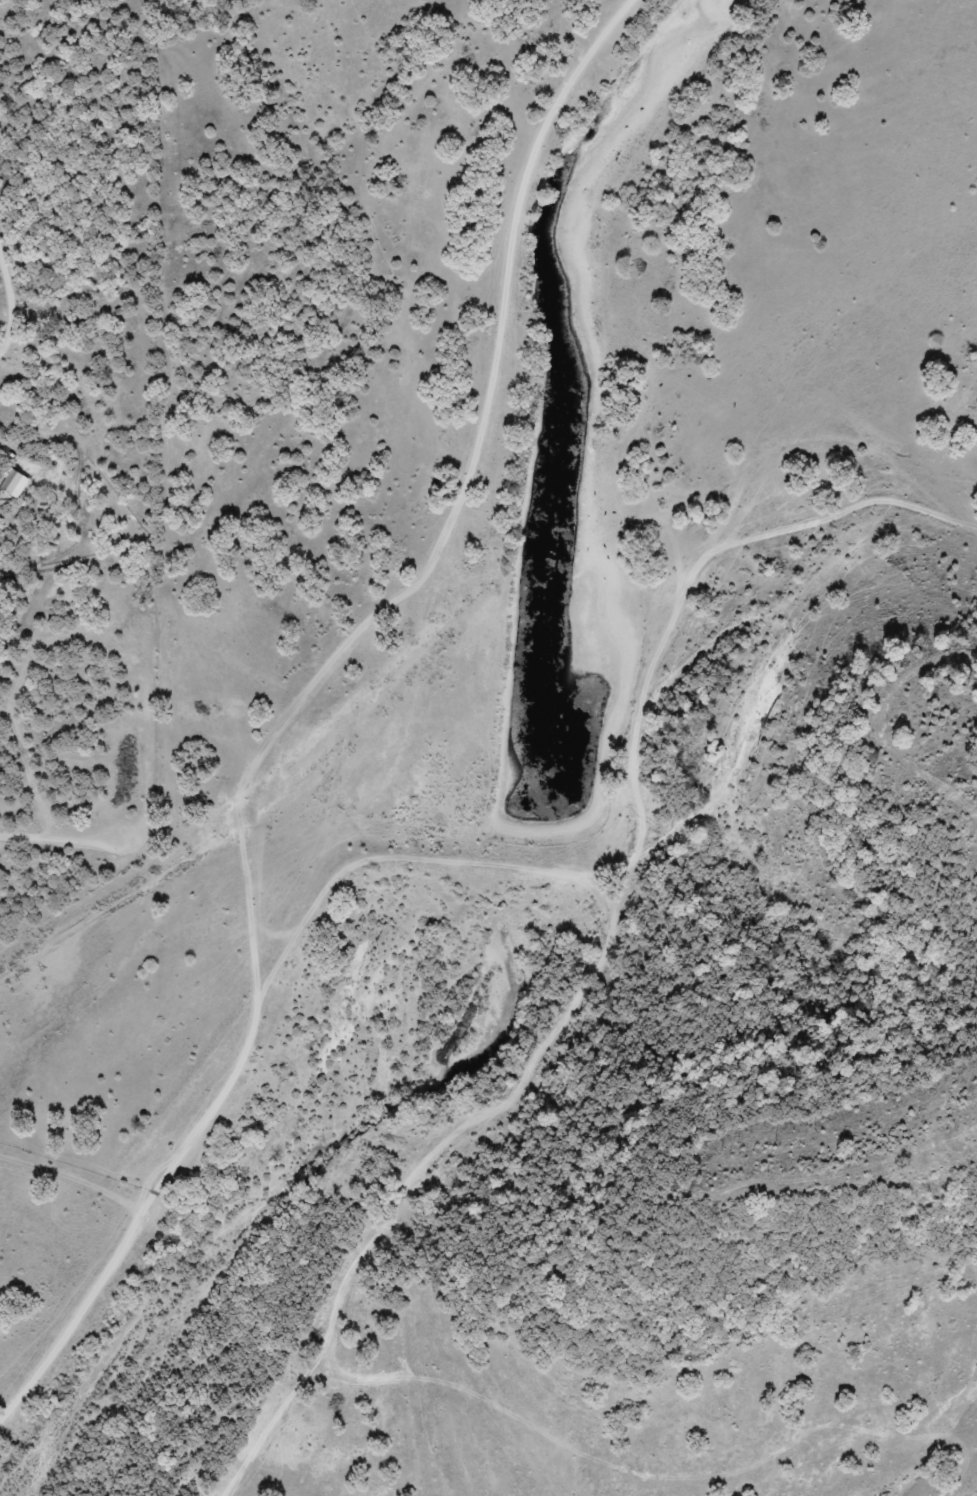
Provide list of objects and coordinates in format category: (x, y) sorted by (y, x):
road: (14, 365)
road: (488, 432)
road: (133, 840)
road: (187, 1143)

